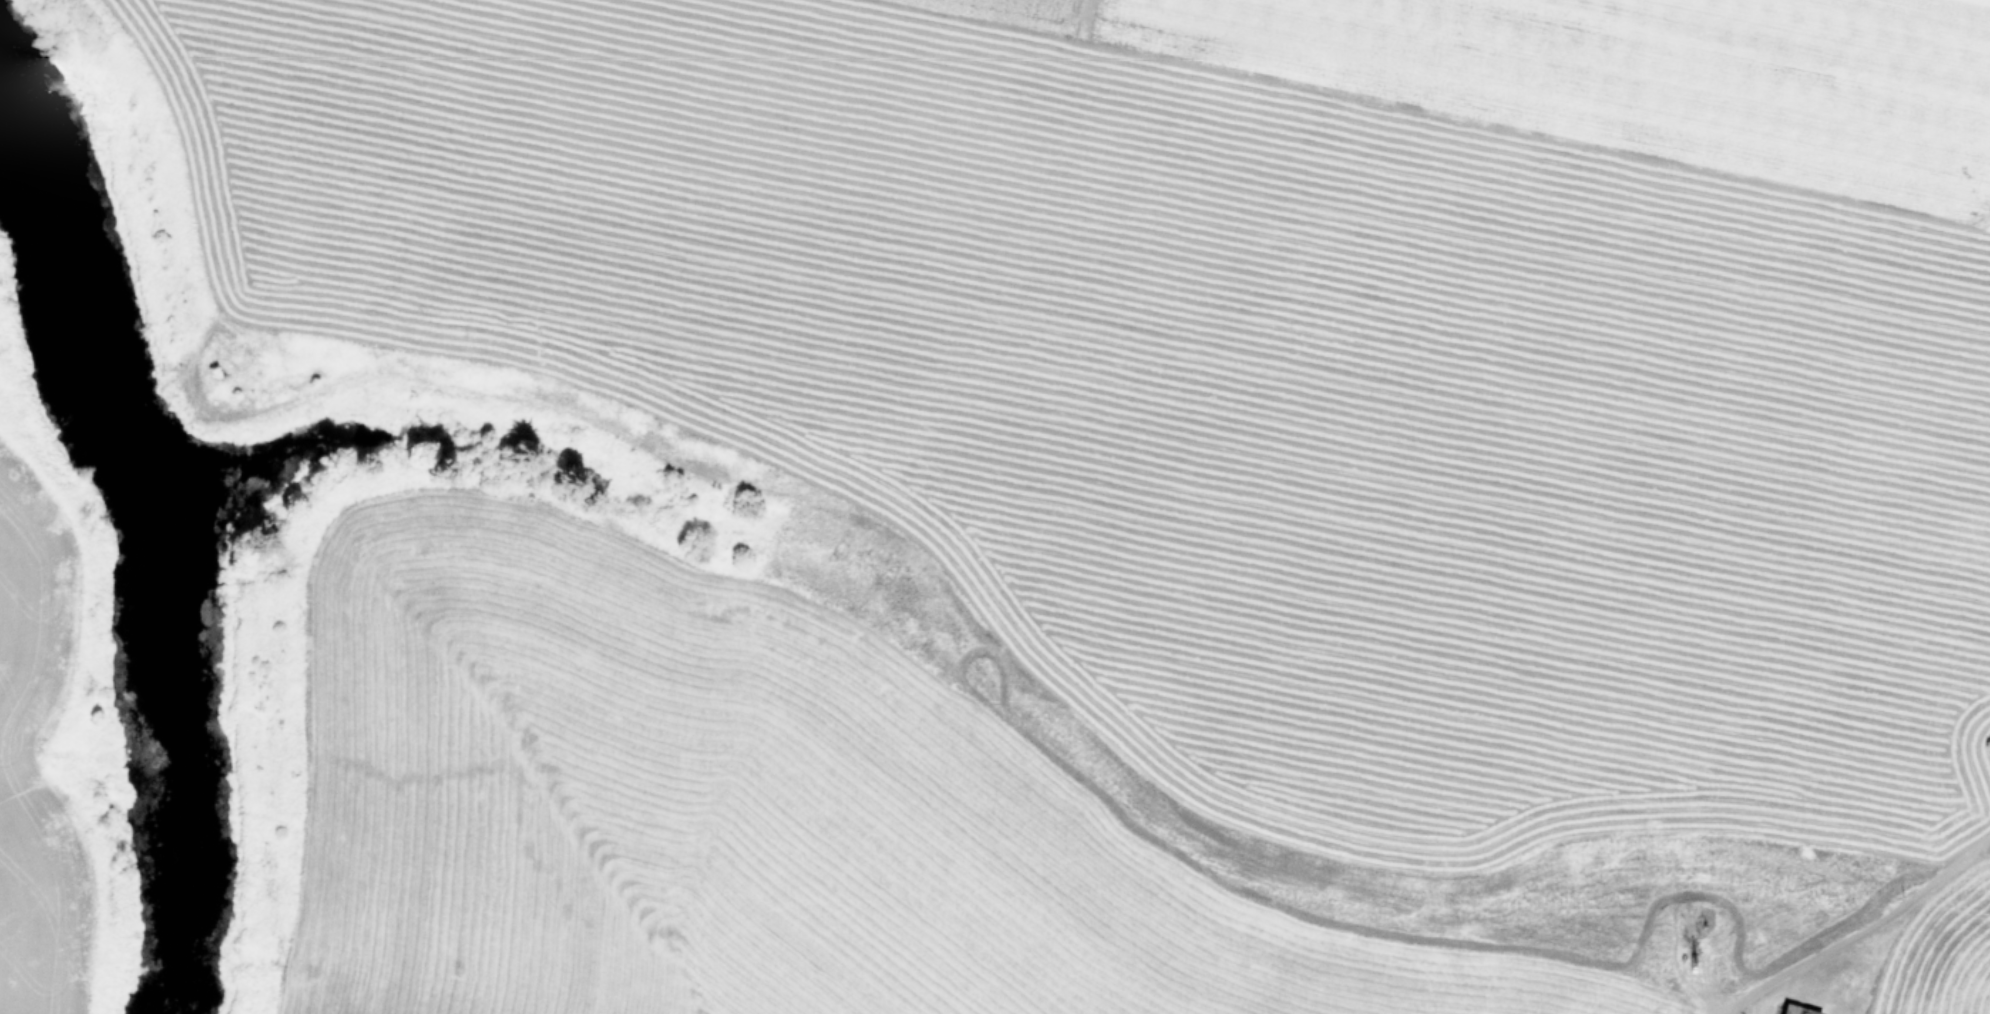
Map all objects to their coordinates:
crop: (995, 507)
road: (1863, 931)
building: (1796, 1009)

